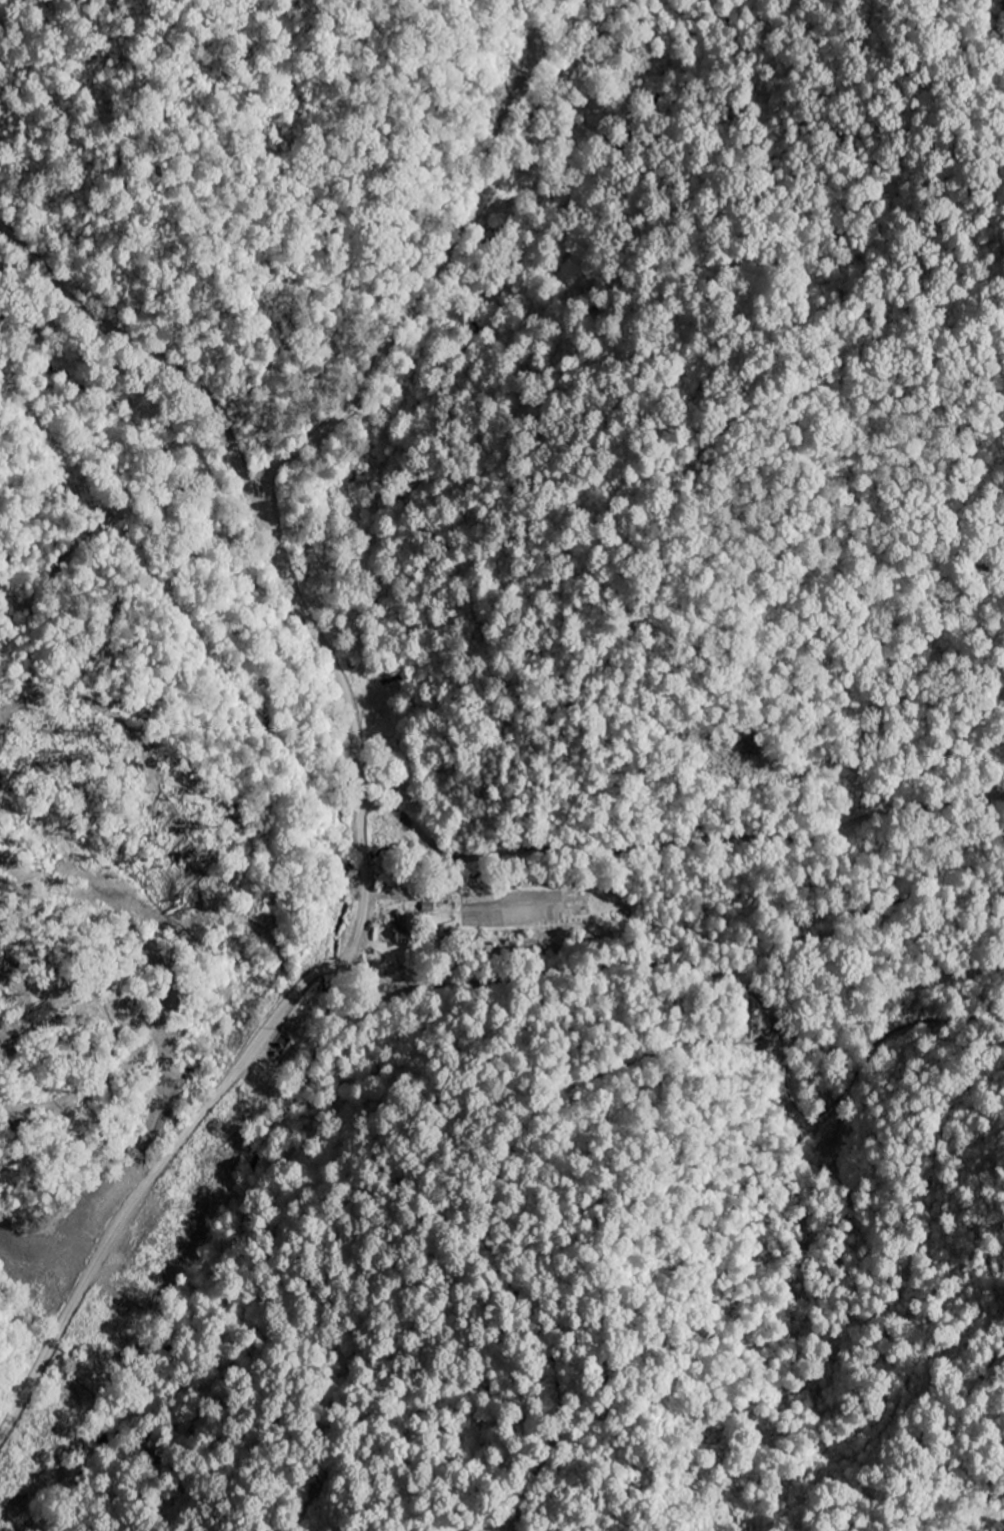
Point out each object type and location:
road: (161, 359)
road: (258, 426)
road: (350, 712)
road: (684, 847)

